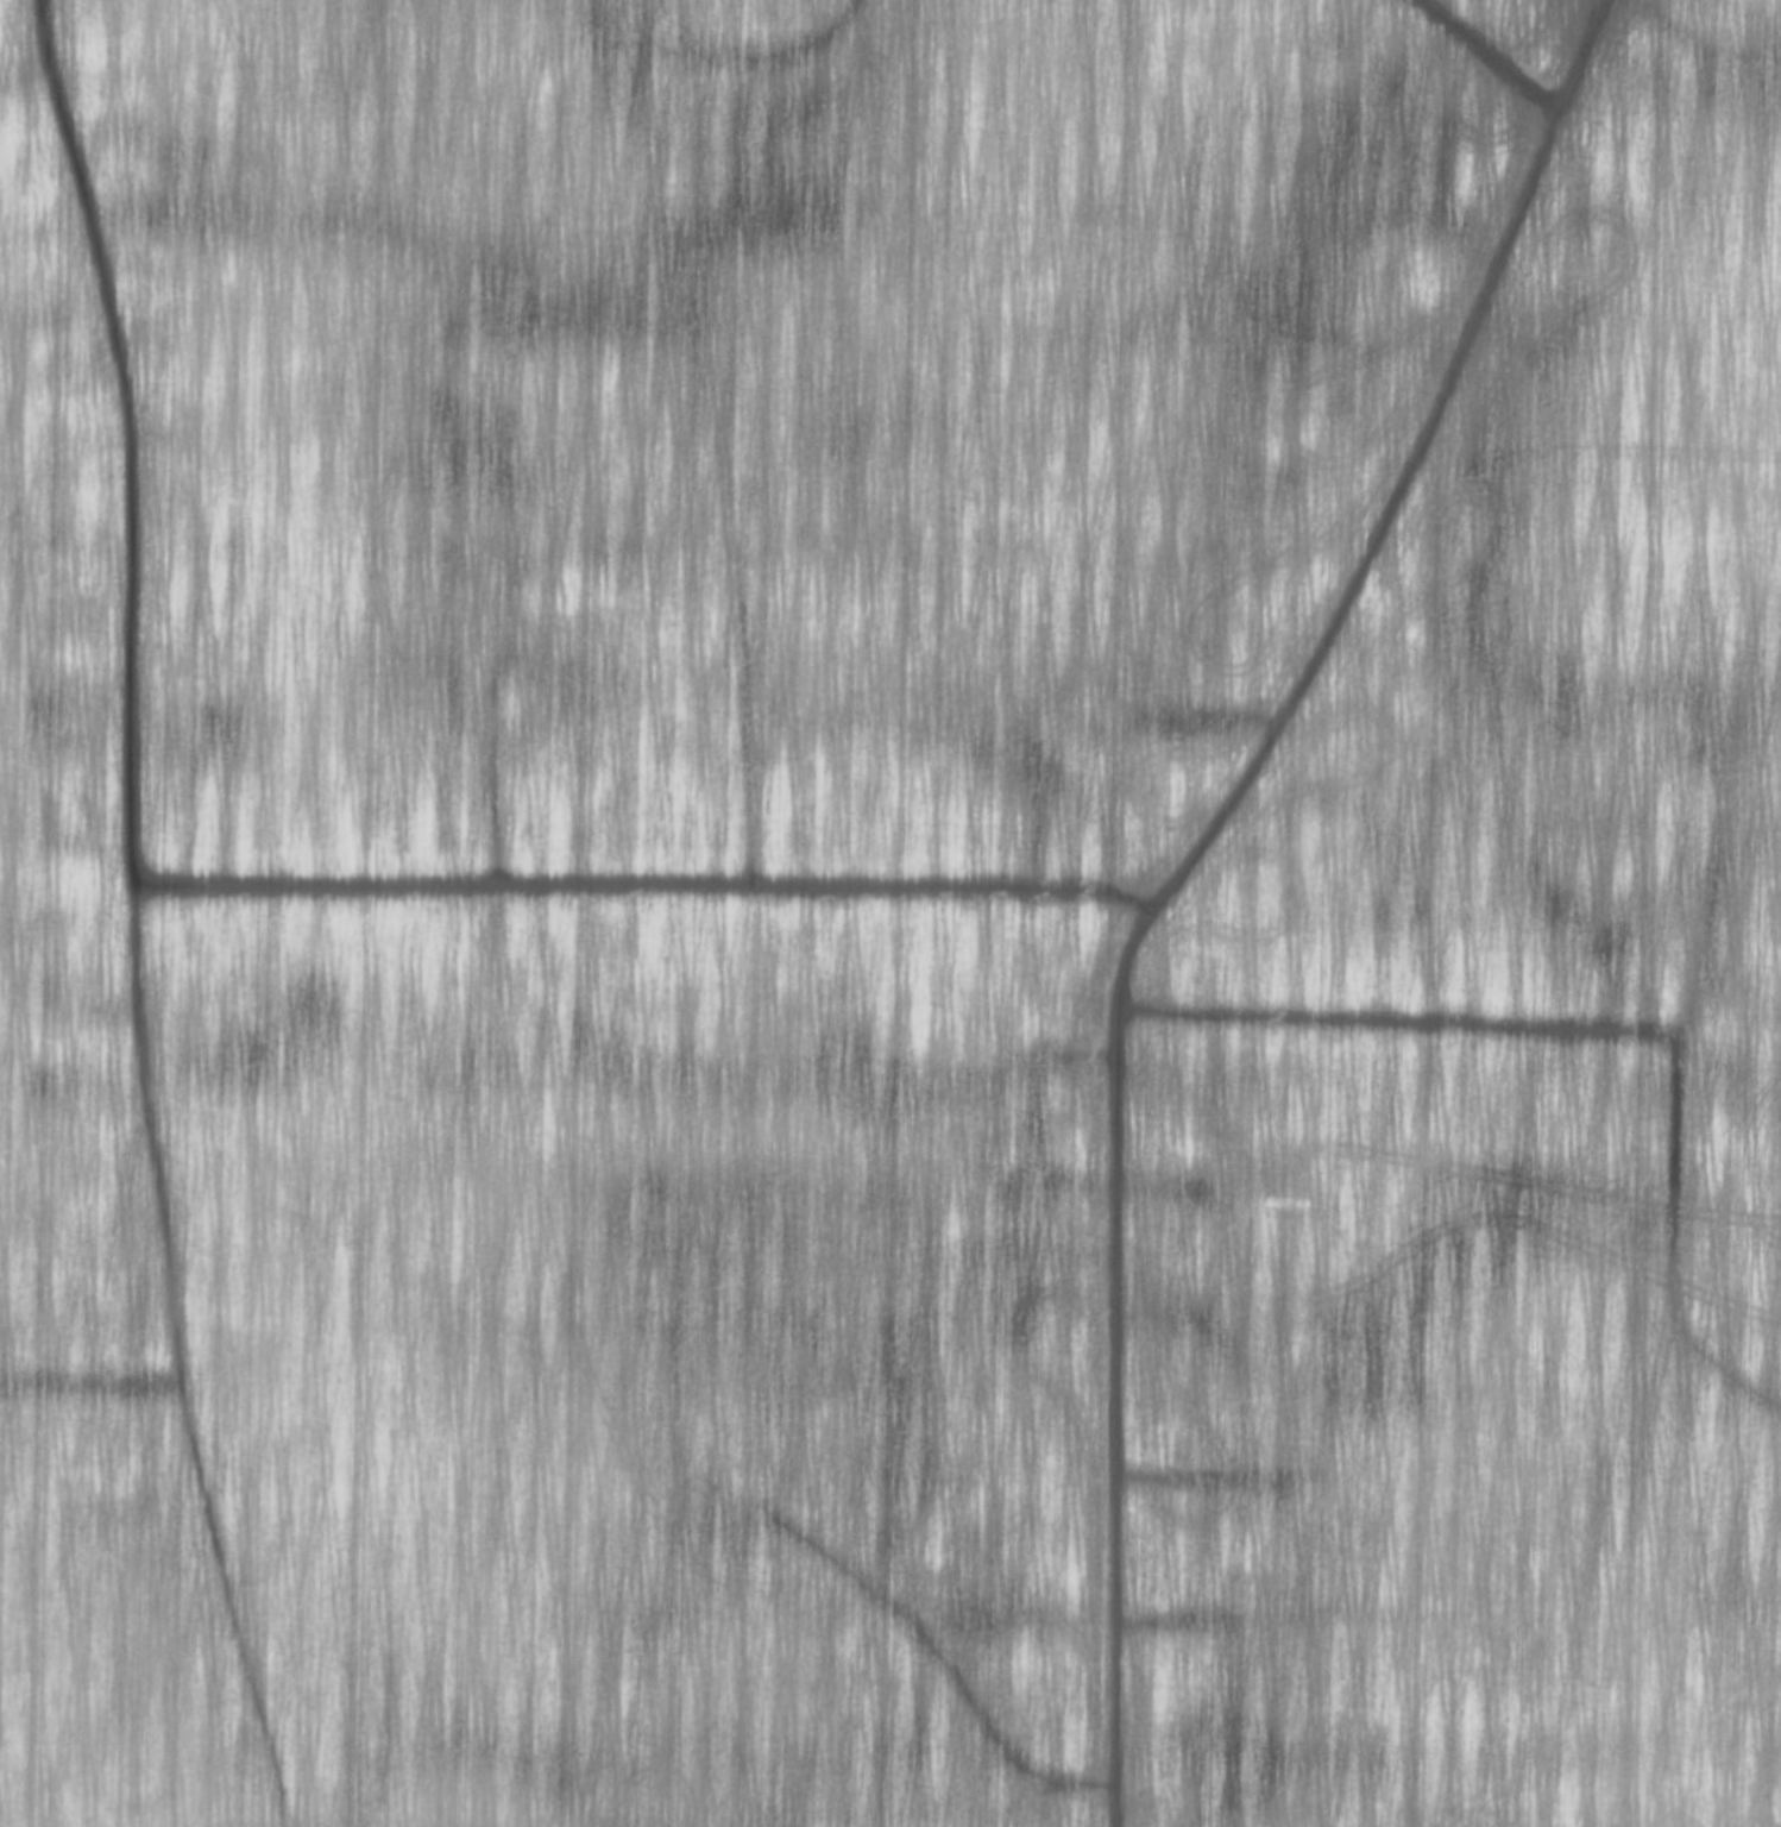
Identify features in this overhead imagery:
crop: (890, 913)

